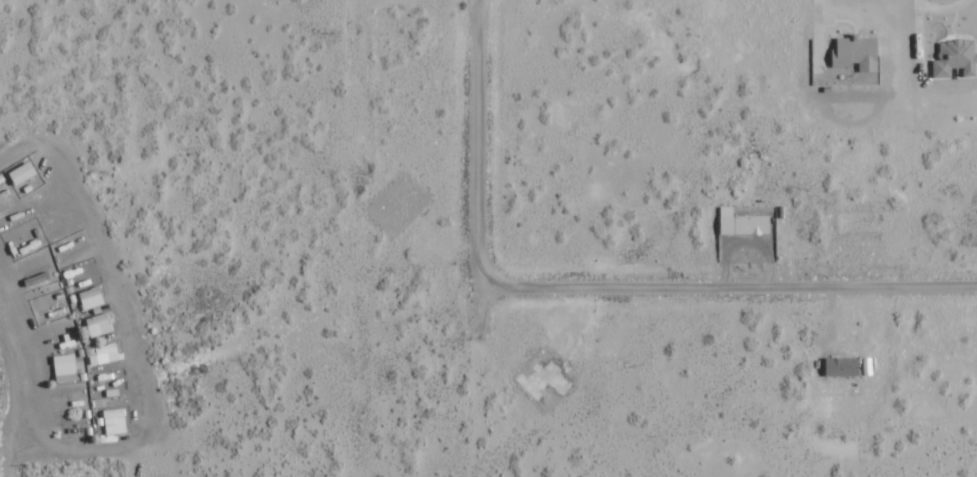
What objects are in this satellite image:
building: (858, 53)
building: (957, 58)
building: (744, 223)
building: (100, 325)
road: (128, 332)
building: (843, 365)
road: (4, 422)

